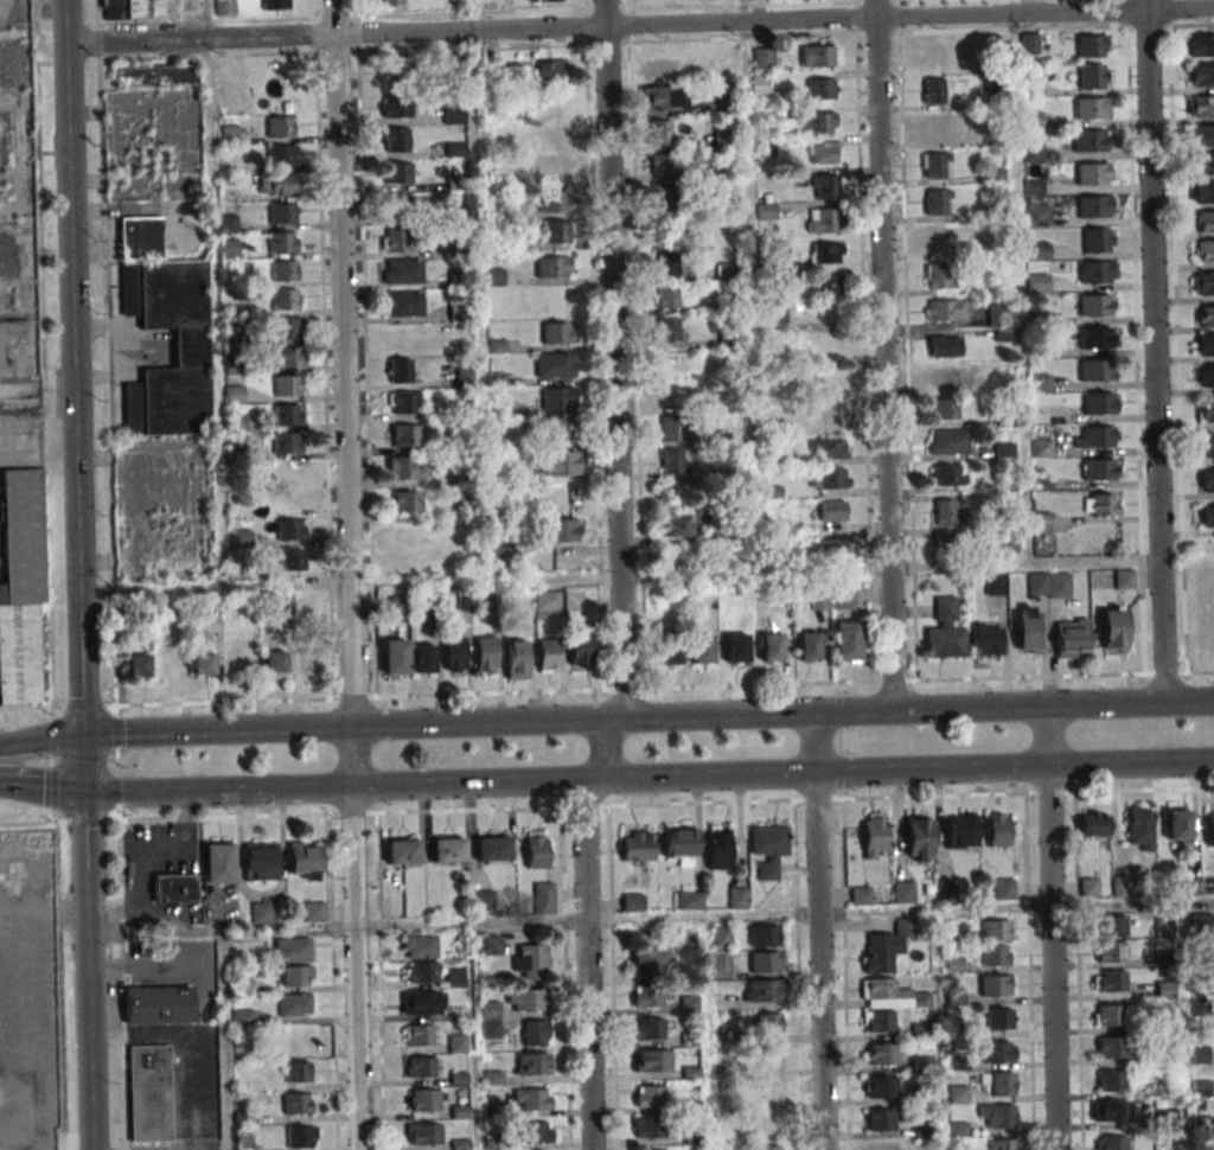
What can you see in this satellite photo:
building: (547, 0)
building: (390, 2)
building: (275, 5)
building: (224, 8)
building: (139, 9)
road: (639, 26)
building: (1029, 43)
building: (1200, 45)
building: (1092, 46)
building: (934, 53)
building: (819, 55)
building: (762, 58)
building: (663, 69)
building: (721, 70)
building: (280, 71)
building: (549, 71)
building: (395, 72)
building: (1202, 75)
building: (154, 76)
building: (1092, 76)
building: (820, 89)
building: (933, 91)
building: (662, 97)
building: (1202, 106)
building: (396, 108)
building: (1091, 108)
building: (453, 114)
building: (1031, 120)
building: (822, 122)
building: (281, 127)
building: (937, 128)
building: (660, 132)
building: (229, 134)
building: (551, 135)
building: (1202, 135)
building: (396, 140)
building: (1090, 141)
building: (823, 153)
building: (282, 155)
building: (663, 164)
building: (1202, 164)
building: (935, 165)
building: (552, 167)
building: (397, 173)
building: (1092, 173)
building: (275, 184)
building: (824, 186)
building: (1202, 192)
building: (555, 200)
building: (665, 200)
building: (938, 202)
building: (400, 206)
building: (1092, 206)
building: (282, 213)
building: (1037, 215)
building: (822, 221)
building: (1203, 221)
building: (554, 231)
building: (139, 237)
building: (937, 239)
building: (1097, 239)
building: (395, 241)
building: (281, 242)
building: (229, 248)
building: (1037, 250)
building: (1205, 250)
building: (826, 253)
building: (667, 263)
building: (552, 267)
building: (283, 270)
building: (401, 270)
building: (1094, 271)
building: (937, 275)
building: (494, 276)
building: (1037, 282)
building: (1205, 283)
building: (829, 286)
building: (666, 296)
building: (286, 299)
building: (402, 304)
building: (1095, 305)
building: (946, 309)
building: (774, 313)
building: (997, 315)
building: (1205, 317)
building: (287, 327)
building: (667, 330)
building: (558, 333)
building: (1091, 337)
building: (1206, 345)
building: (944, 346)
building: (190, 349)
building: (830, 349)
road: (1152, 350)
road: (877, 356)
building: (290, 357)
building: (555, 364)
building: (400, 370)
building: (1095, 370)
building: (1206, 376)
building: (945, 378)
building: (830, 384)
building: (287, 385)
building: (673, 394)
building: (234, 395)
building: (558, 398)
building: (403, 403)
building: (1099, 403)
building: (943, 409)
building: (1206, 411)
building: (287, 415)
building: (829, 417)
building: (673, 428)
building: (405, 435)
building: (1098, 437)
building: (947, 441)
building: (287, 443)
building: (825, 447)
building: (1207, 447)
road: (37, 453)
building: (675, 461)
building: (563, 462)
building: (403, 468)
building: (1099, 469)
building: (287, 472)
building: (947, 475)
building: (828, 478)
building: (1207, 480)
building: (568, 498)
building: (287, 500)
building: (407, 501)
building: (1100, 504)
building: (832, 510)
building: (948, 511)
building: (1207, 516)
building: (1041, 523)
building: (675, 525)
building: (292, 529)
building: (562, 529)
building: (407, 534)
building: (21, 535)
building: (239, 538)
building: (951, 544)
building: (833, 548)
building: (503, 557)
building: (290, 560)
road: (753, 571)
road: (77, 575)
road: (346, 575)
road: (599, 575)
building: (1124, 580)
building: (995, 584)
building: (1048, 584)
building: (843, 599)
building: (315, 602)
building: (282, 603)
building: (545, 603)
building: (426, 605)
building: (397, 606)
building: (1027, 630)
building: (1113, 630)
building: (945, 632)
building: (1072, 638)
building: (985, 639)
building: (846, 641)
building: (807, 646)
building: (580, 647)
building: (735, 647)
building: (771, 647)
building: (702, 649)
building: (238, 651)
building: (19, 652)
building: (454, 653)
building: (486, 653)
building: (669, 653)
building: (548, 654)
building: (395, 656)
building: (423, 658)
building: (308, 659)
building: (516, 659)
building: (274, 662)
building: (203, 664)
building: (138, 665)
road: (606, 718)
traffic signals: (81, 736)
road: (1047, 737)
road: (814, 743)
road: (647, 779)
road: (41, 785)
traffic signals: (83, 792)
building: (1093, 823)
building: (1176, 823)
building: (1139, 828)
building: (1209, 828)
building: (960, 830)
building: (997, 830)
building: (874, 835)
building: (919, 838)
building: (679, 842)
building: (637, 846)
building: (717, 848)
building: (768, 848)
building: (492, 849)
building: (402, 850)
building: (448, 850)
building: (536, 850)
road: (141, 854)
building: (306, 860)
building: (261, 861)
building: (219, 863)
building: (1088, 887)
building: (174, 888)
building: (946, 888)
building: (1003, 889)
building: (902, 892)
building: (860, 895)
building: (543, 897)
building: (737, 897)
building: (689, 900)
building: (483, 901)
building: (632, 902)
building: (262, 912)
building: (313, 912)
road: (784, 913)
building: (1199, 921)
building: (1111, 926)
building: (1163, 927)
building: (995, 929)
building: (953, 931)
building: (766, 935)
building: (721, 937)
building: (488, 944)
building: (887, 945)
building: (418, 946)
building: (293, 950)
building: (1110, 951)
building: (995, 954)
road: (1052, 958)
building: (650, 959)
building: (530, 961)
building: (766, 961)
road: (819, 961)
building: (721, 965)
road: (221, 972)
building: (421, 972)
building: (296, 976)
building: (455, 978)
building: (1108, 980)
building: (241, 983)
building: (996, 985)
building: (1164, 989)
building: (763, 990)
building: (890, 995)
building: (646, 996)
building: (526, 999)
building: (422, 1003)
building: (158, 1004)
building: (295, 1004)
building: (689, 1004)
building: (1107, 1015)
building: (998, 1018)
building: (491, 1020)
building: (877, 1021)
building: (768, 1023)
building: (648, 1028)
building: (536, 1033)
building: (418, 1035)
building: (300, 1039)
building: (1111, 1047)
building: (996, 1052)
building: (880, 1054)
building: (768, 1058)
building: (652, 1060)
building: (533, 1063)
building: (420, 1066)
building: (298, 1071)
building: (1111, 1080)
building: (1001, 1082)
building: (881, 1086)
building: (769, 1090)
building: (149, 1093)
building: (957, 1094)
building: (650, 1097)
building: (532, 1099)
building: (423, 1100)
building: (298, 1103)
building: (1113, 1111)
building: (996, 1116)
building: (880, 1119)
building: (1167, 1119)
building: (765, 1124)
building: (648, 1127)
building: (537, 1132)
building: (423, 1133)
building: (301, 1136)
building: (243, 1142)
building: (1111, 1143)
building: (1002, 1144)
building: (883, 1146)
building: (768, 1148)

